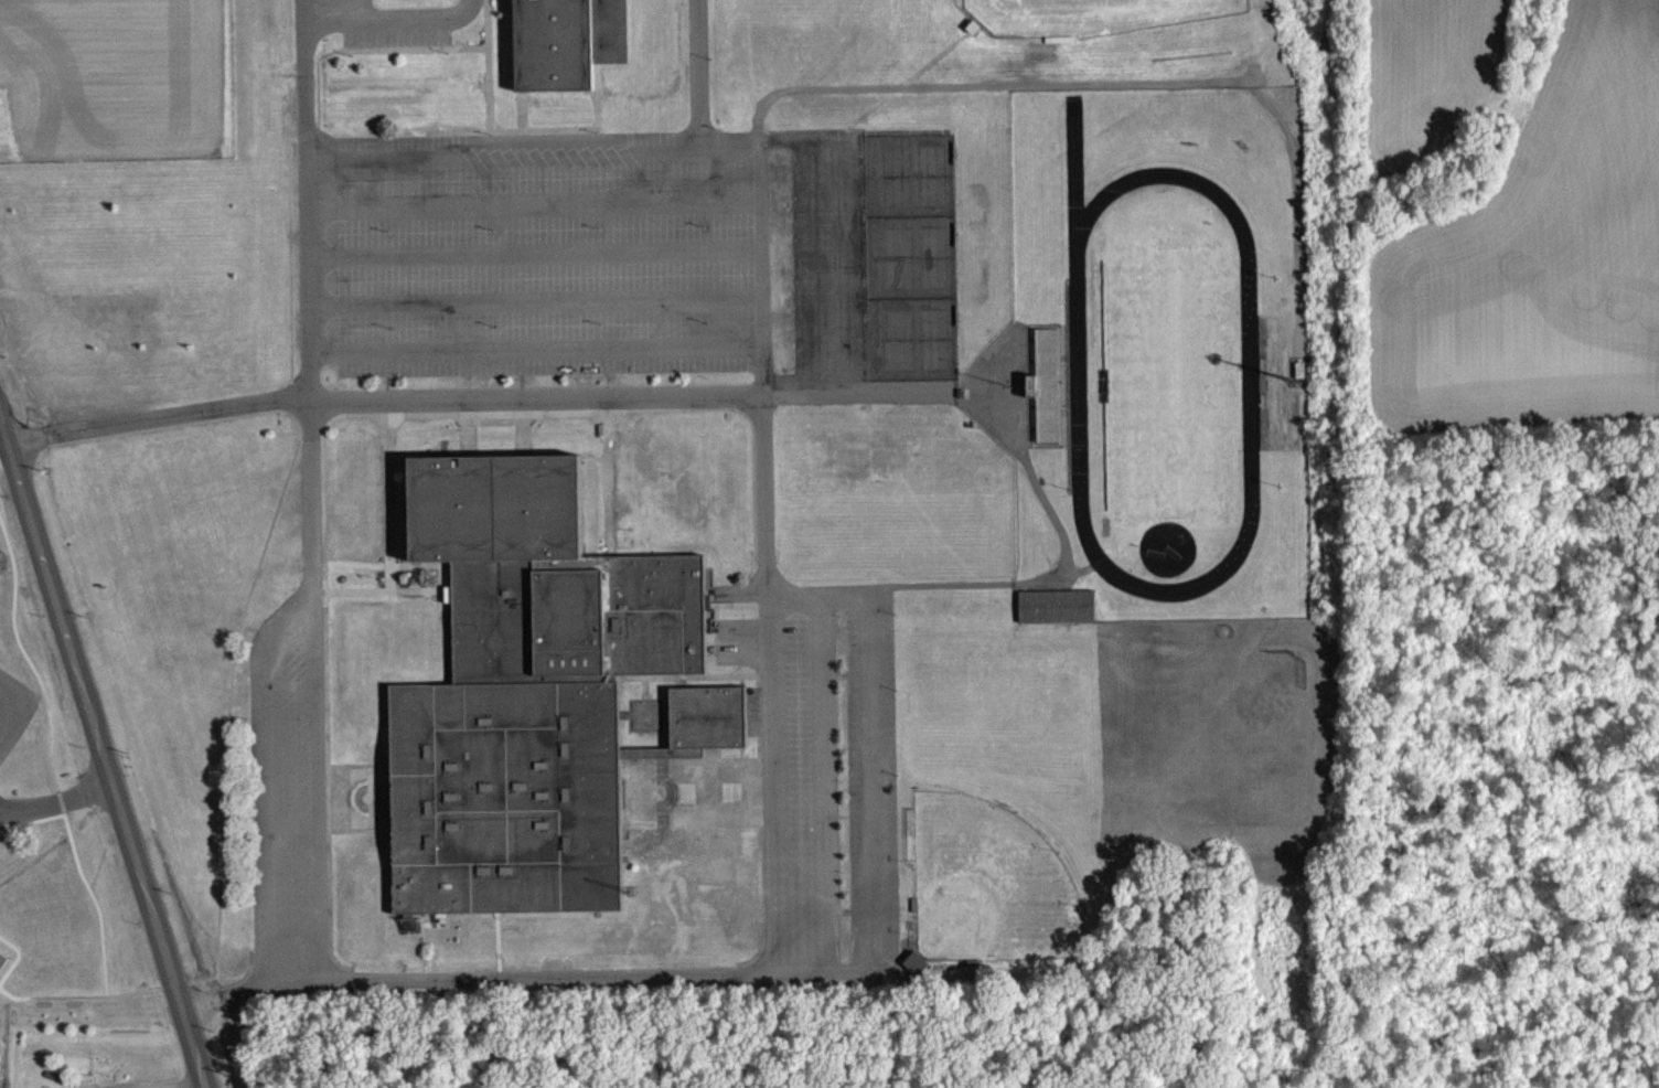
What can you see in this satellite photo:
road: (349, 10)
road: (321, 18)
road: (408, 20)
building: (566, 41)
road: (650, 164)
road: (306, 201)
park: (910, 256)
track: (1078, 381)
building: (1032, 398)
road: (3, 445)
road: (310, 605)
building: (1057, 619)
building: (534, 691)
road: (770, 696)
parking lot: (13, 708)
road: (104, 754)
parking lot: (40, 803)
road: (57, 806)
road: (143, 1082)

